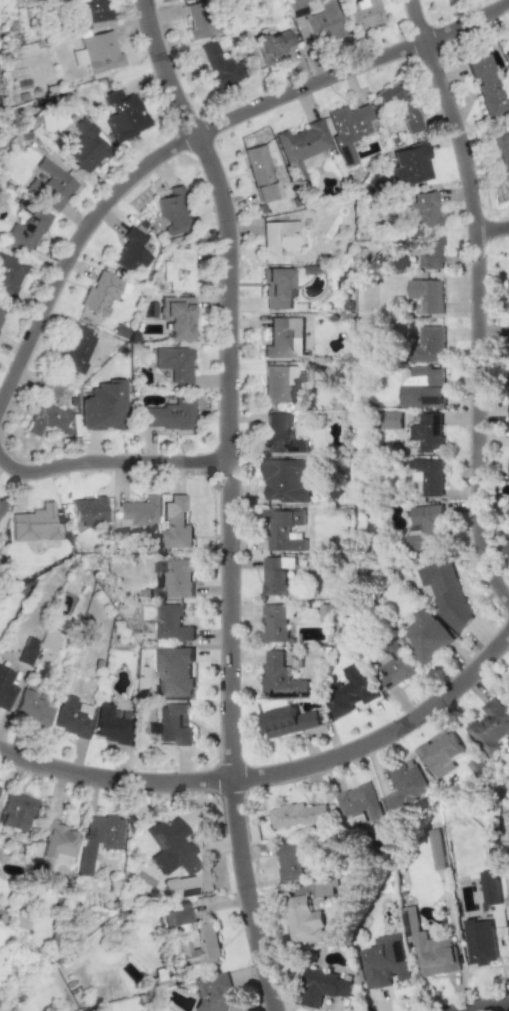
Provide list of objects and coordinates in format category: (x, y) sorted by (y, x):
building: (91, 10)
building: (363, 13)
building: (197, 20)
building: (320, 20)
building: (274, 45)
building: (97, 52)
building: (506, 53)
building: (218, 67)
building: (484, 83)
building: (398, 104)
building: (123, 114)
building: (350, 128)
road: (193, 134)
building: (85, 146)
building: (301, 147)
building: (502, 151)
building: (409, 165)
building: (259, 173)
building: (50, 185)
building: (422, 209)
building: (171, 211)
road: (489, 230)
building: (26, 231)
building: (278, 239)
building: (428, 249)
building: (130, 253)
building: (178, 270)
building: (10, 274)
building: (508, 287)
building: (278, 288)
building: (101, 292)
building: (426, 295)
road: (472, 302)
building: (365, 328)
building: (284, 338)
building: (428, 346)
building: (76, 349)
building: (175, 364)
building: (278, 383)
building: (423, 388)
building: (508, 402)
building: (103, 407)
building: (47, 413)
building: (170, 414)
building: (390, 420)
building: (426, 432)
building: (280, 435)
road: (111, 463)
building: (508, 470)
building: (428, 475)
building: (288, 480)
road: (226, 499)
building: (2, 507)
building: (89, 511)
building: (507, 512)
building: (137, 514)
building: (508, 523)
building: (35, 524)
building: (176, 524)
building: (426, 525)
building: (283, 529)
building: (507, 548)
building: (275, 575)
building: (173, 578)
building: (446, 592)
building: (274, 623)
building: (172, 624)
building: (426, 636)
building: (49, 639)
building: (27, 651)
building: (395, 668)
building: (173, 672)
building: (279, 674)
building: (507, 688)
building: (6, 689)
building: (349, 691)
building: (34, 707)
building: (71, 716)
building: (288, 721)
building: (491, 723)
building: (111, 725)
building: (172, 725)
building: (441, 753)
road: (275, 775)
building: (405, 785)
building: (359, 802)
building: (16, 810)
building: (508, 811)
building: (298, 815)
building: (98, 838)
building: (55, 845)
building: (171, 846)
building: (436, 849)
building: (288, 861)
building: (179, 887)
building: (490, 887)
building: (177, 917)
building: (303, 921)
building: (480, 942)
building: (200, 946)
building: (430, 948)
building: (386, 962)
building: (321, 987)
building: (214, 994)
road: (482, 1007)

